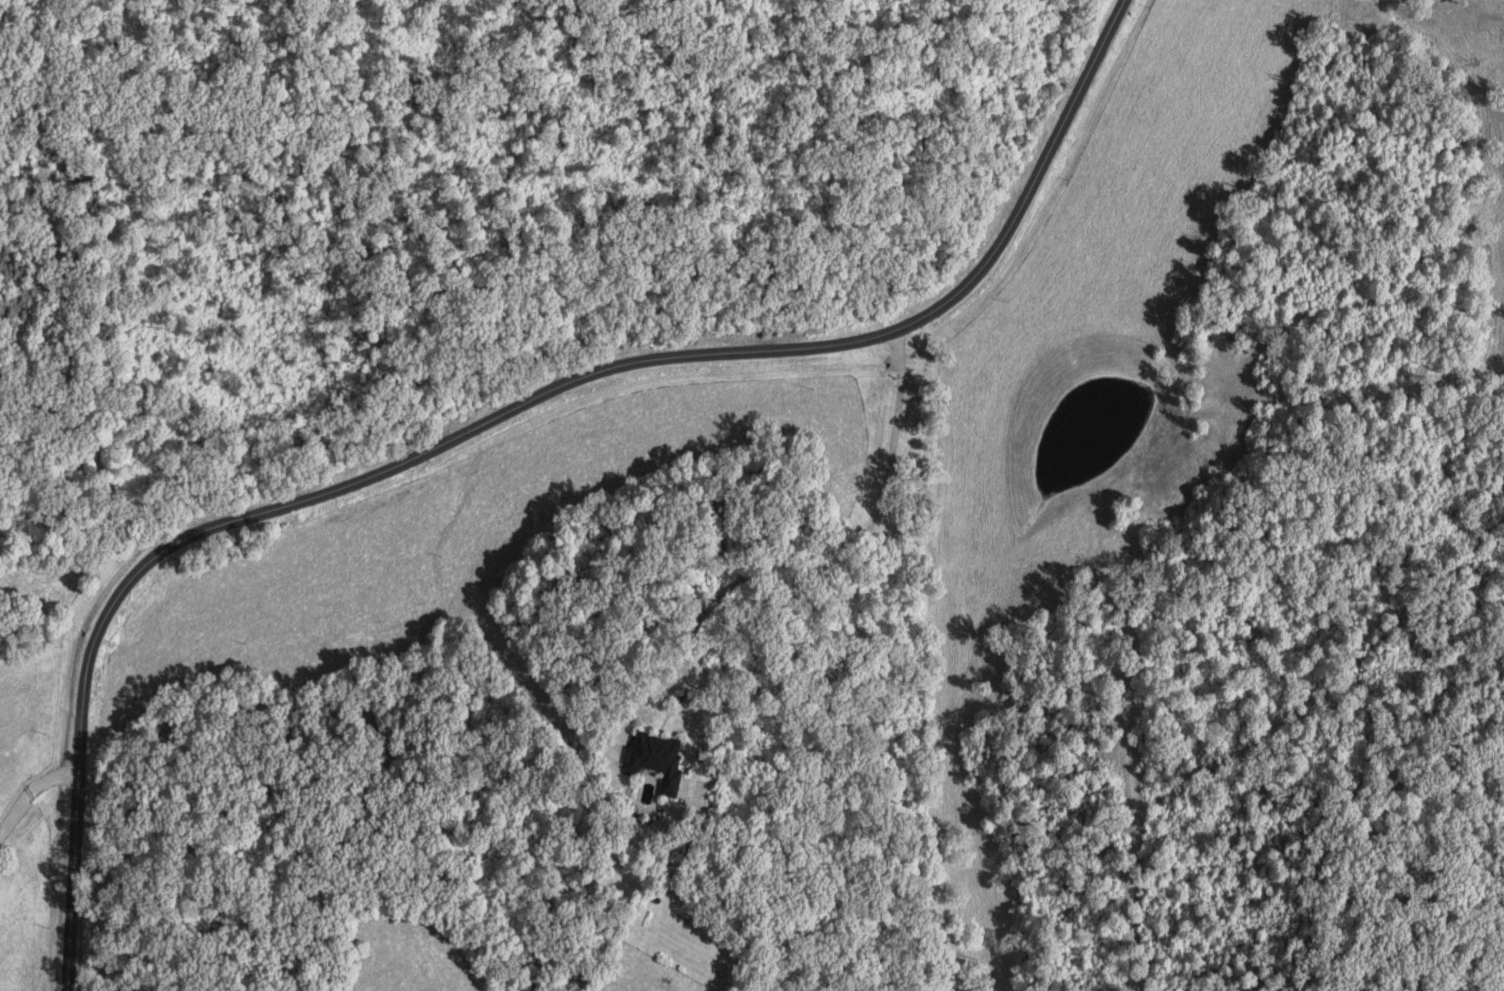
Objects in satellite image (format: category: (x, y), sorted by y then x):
road: (494, 419)
road: (847, 537)
building: (654, 760)
road: (32, 792)

